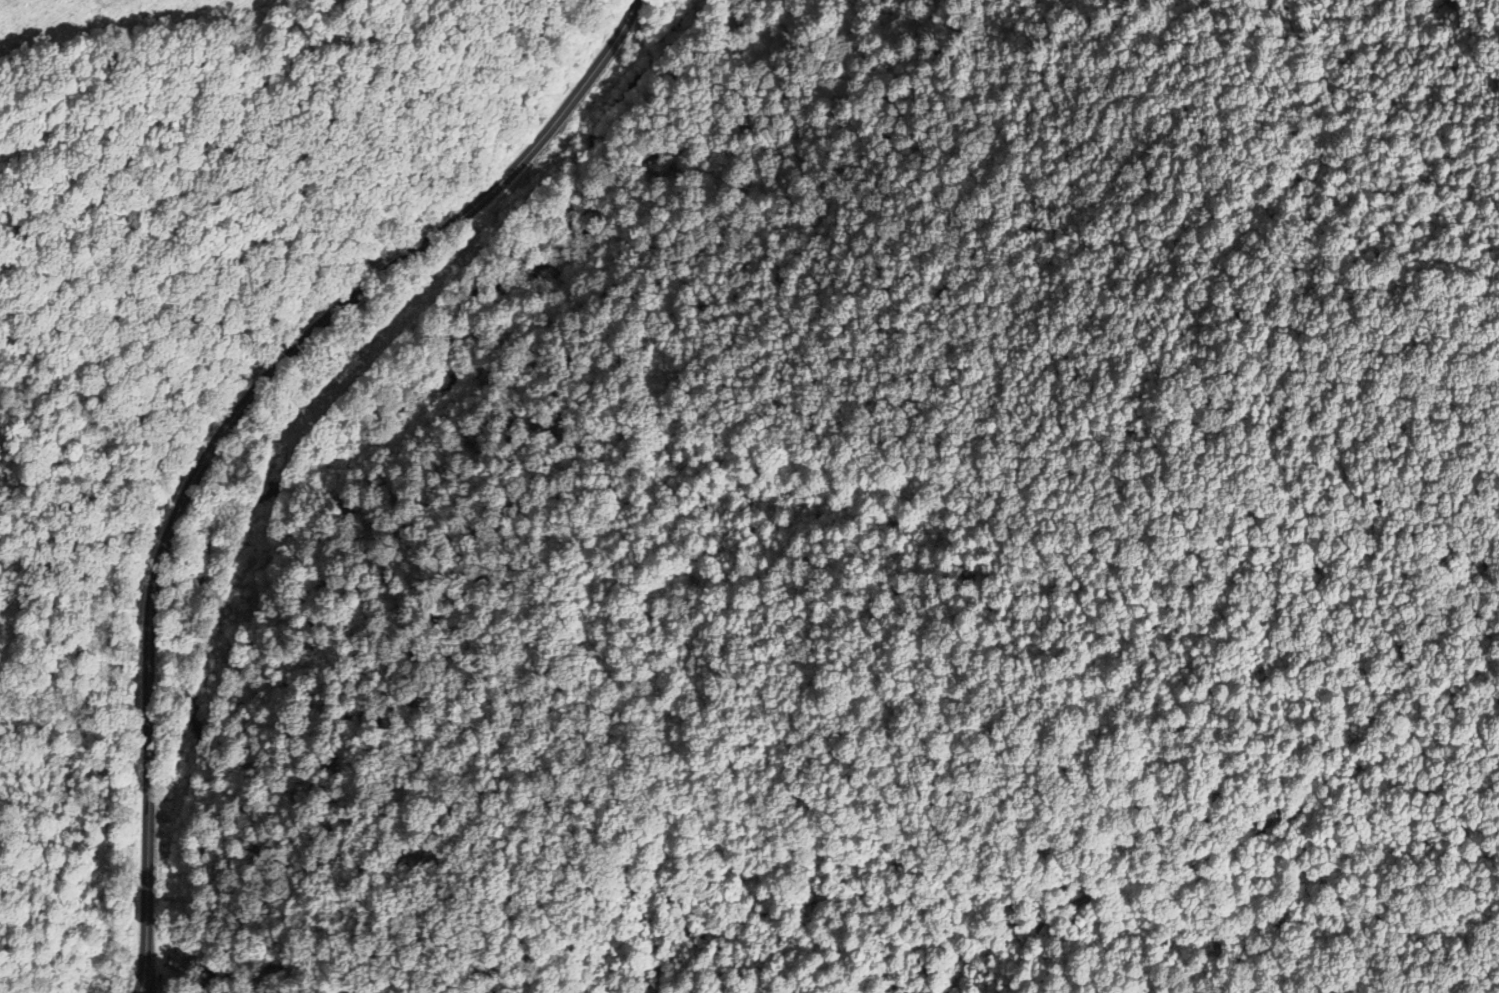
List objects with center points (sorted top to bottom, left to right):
road: (230, 421)

